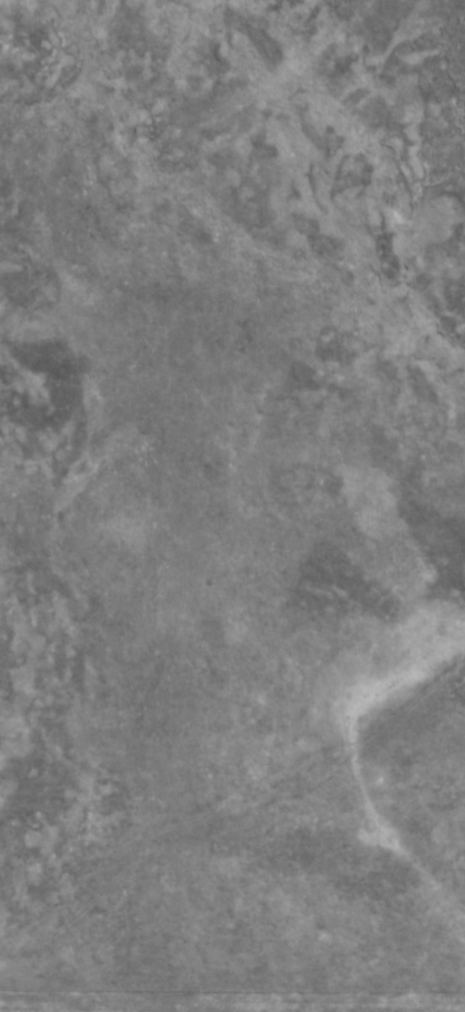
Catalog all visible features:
road: (231, 809)

